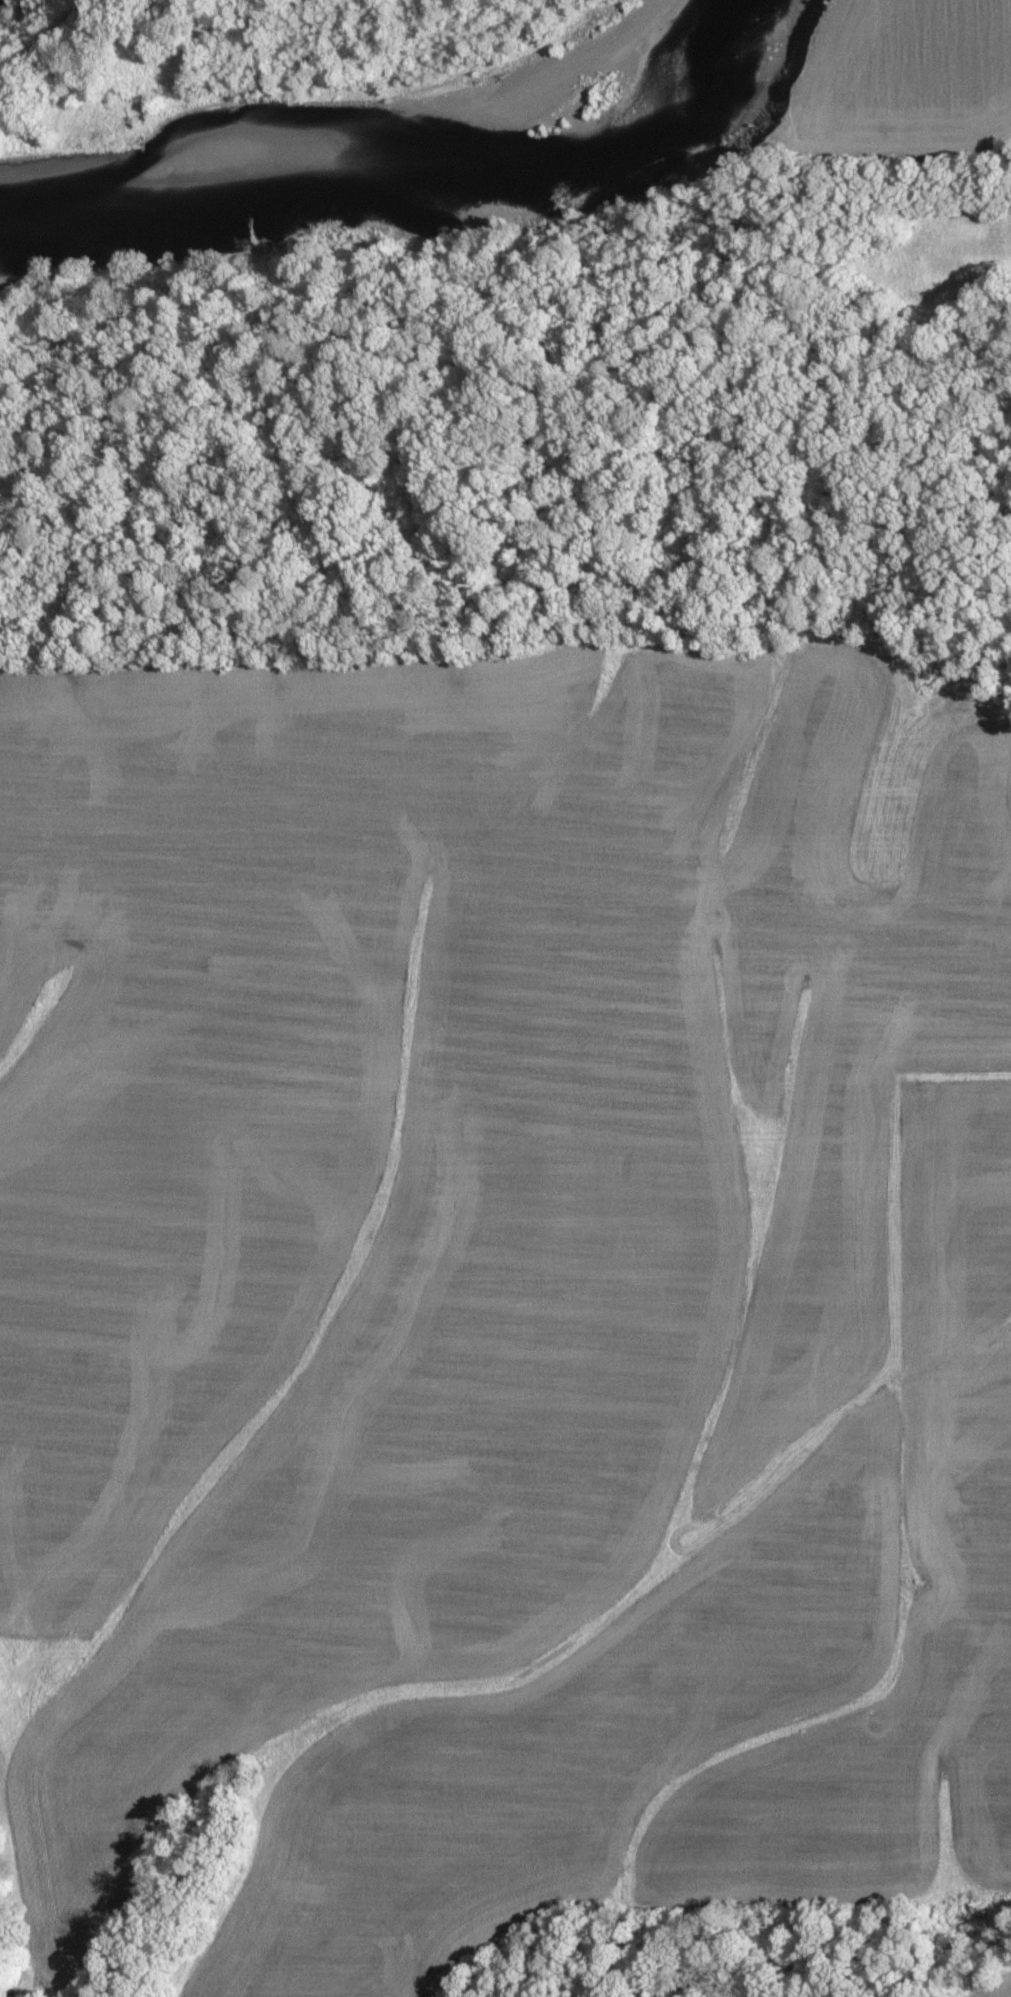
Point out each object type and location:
river: (359, 149)

